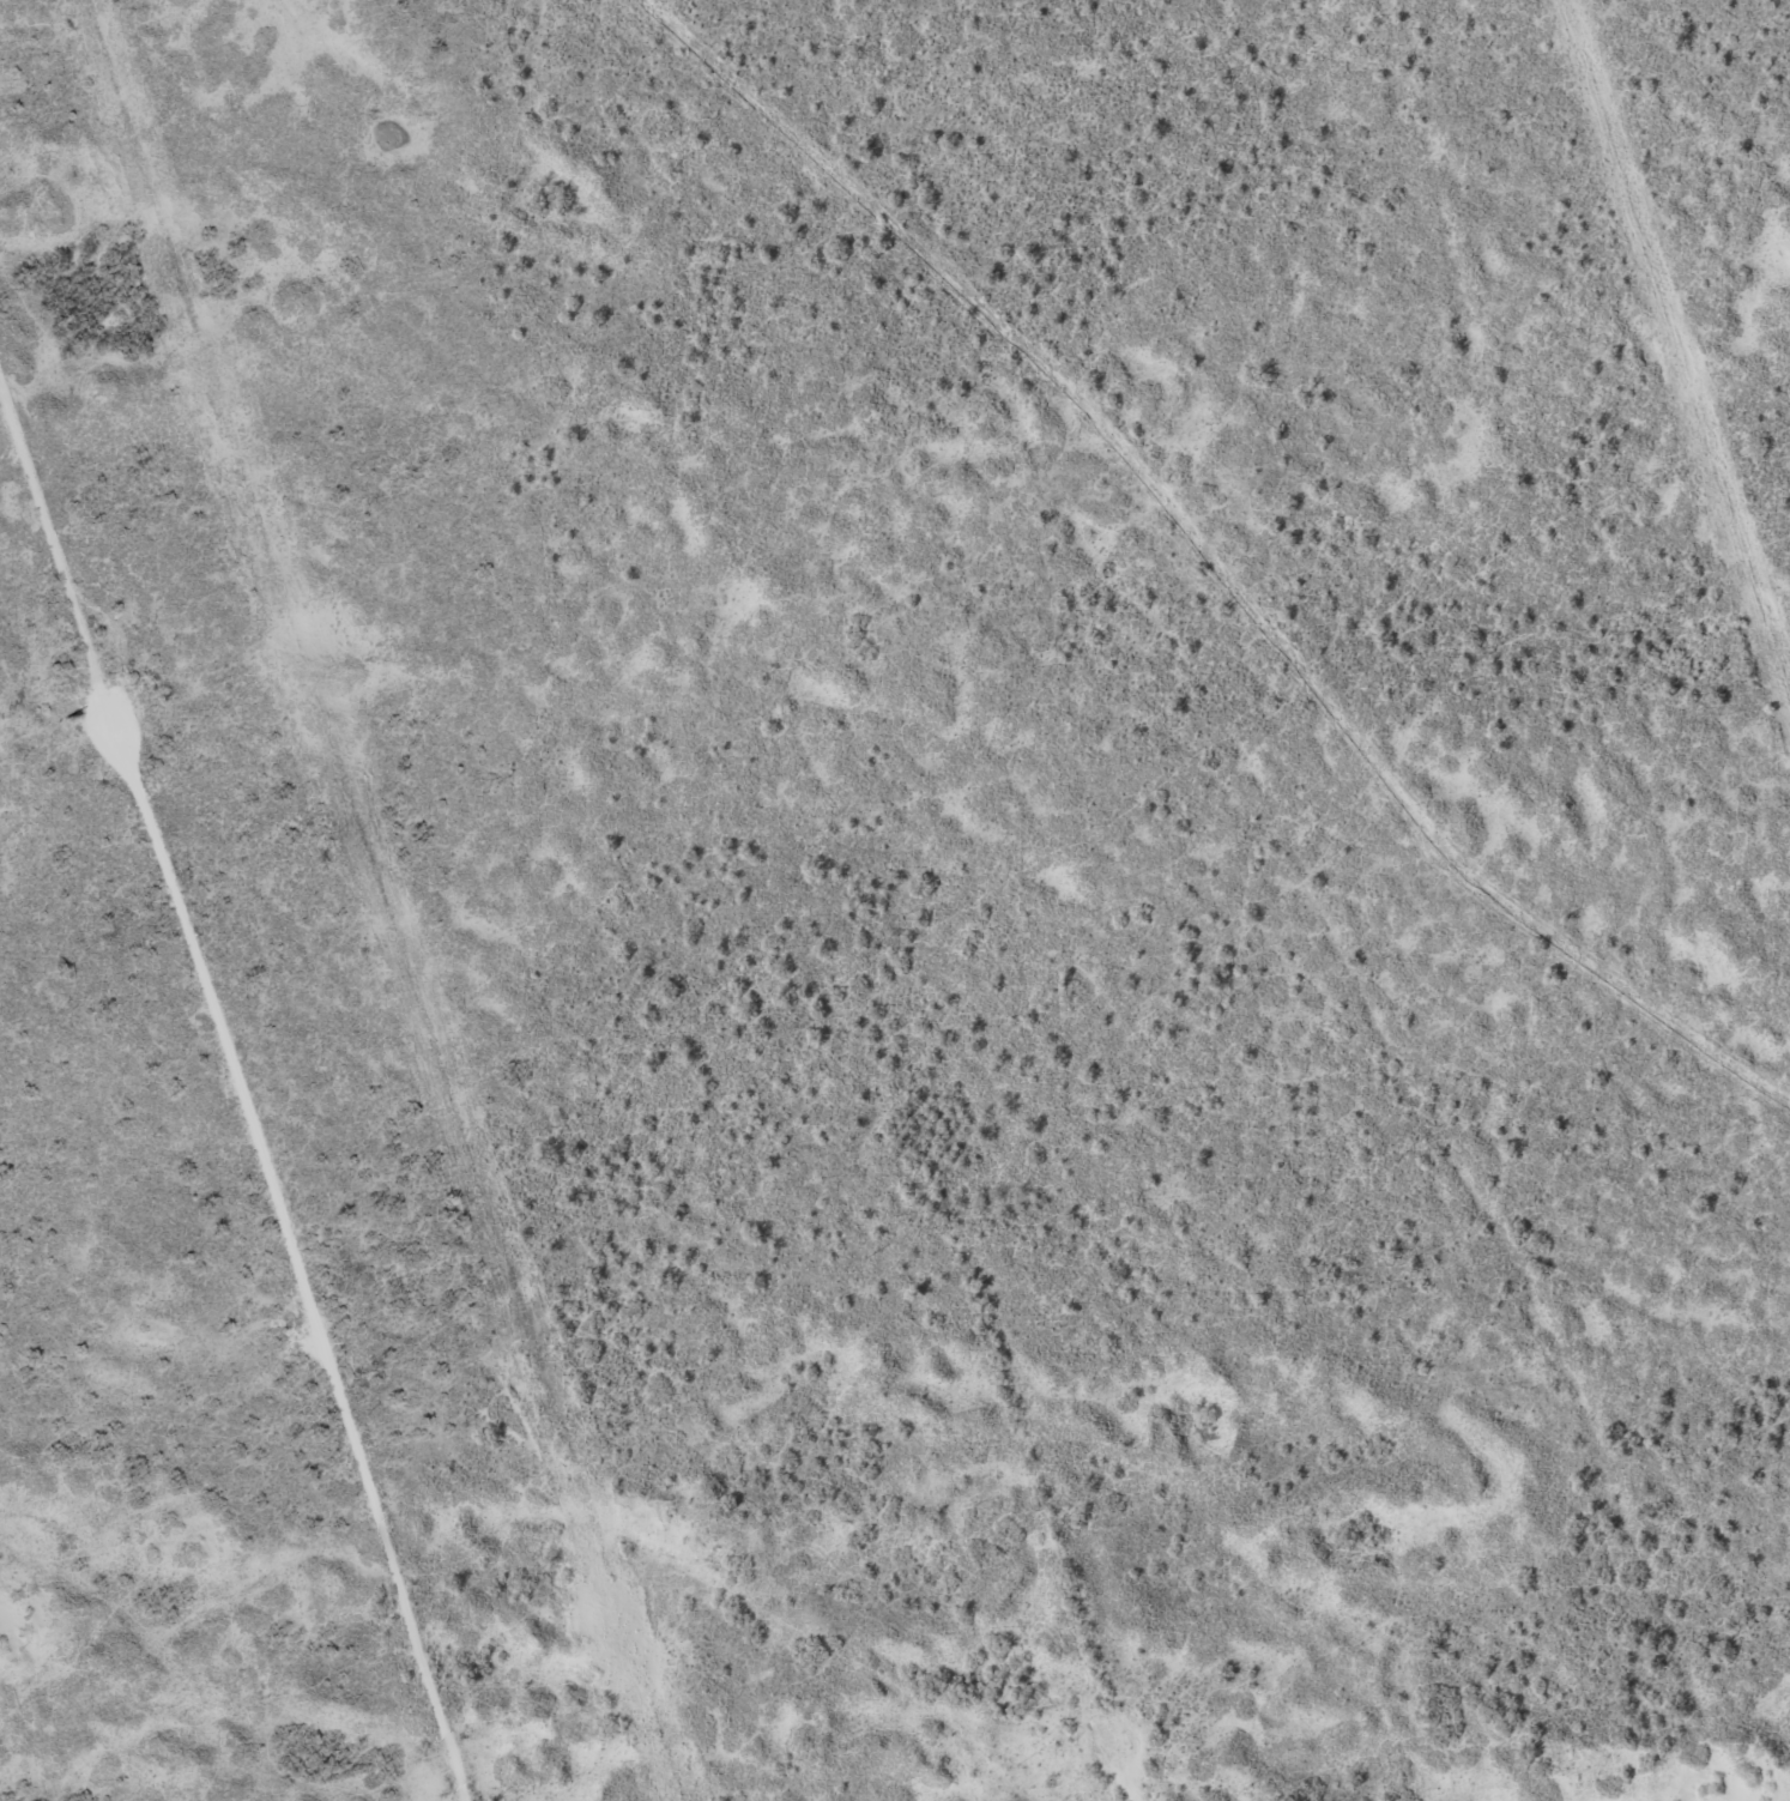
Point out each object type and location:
road: (248, 1100)

